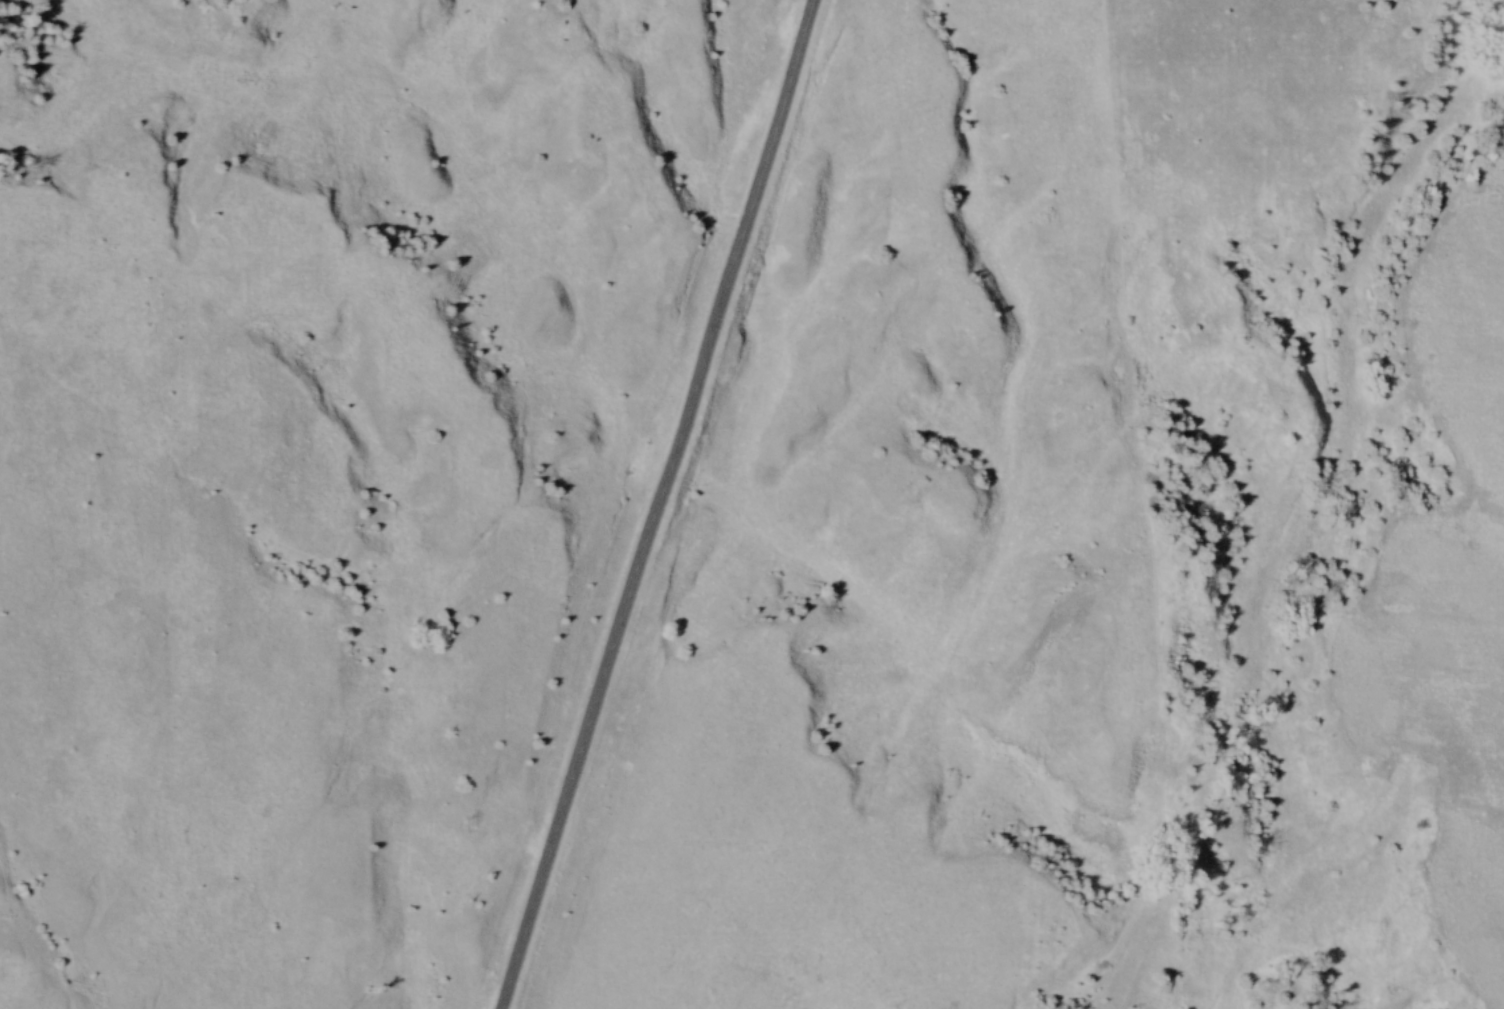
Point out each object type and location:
road: (658, 504)

